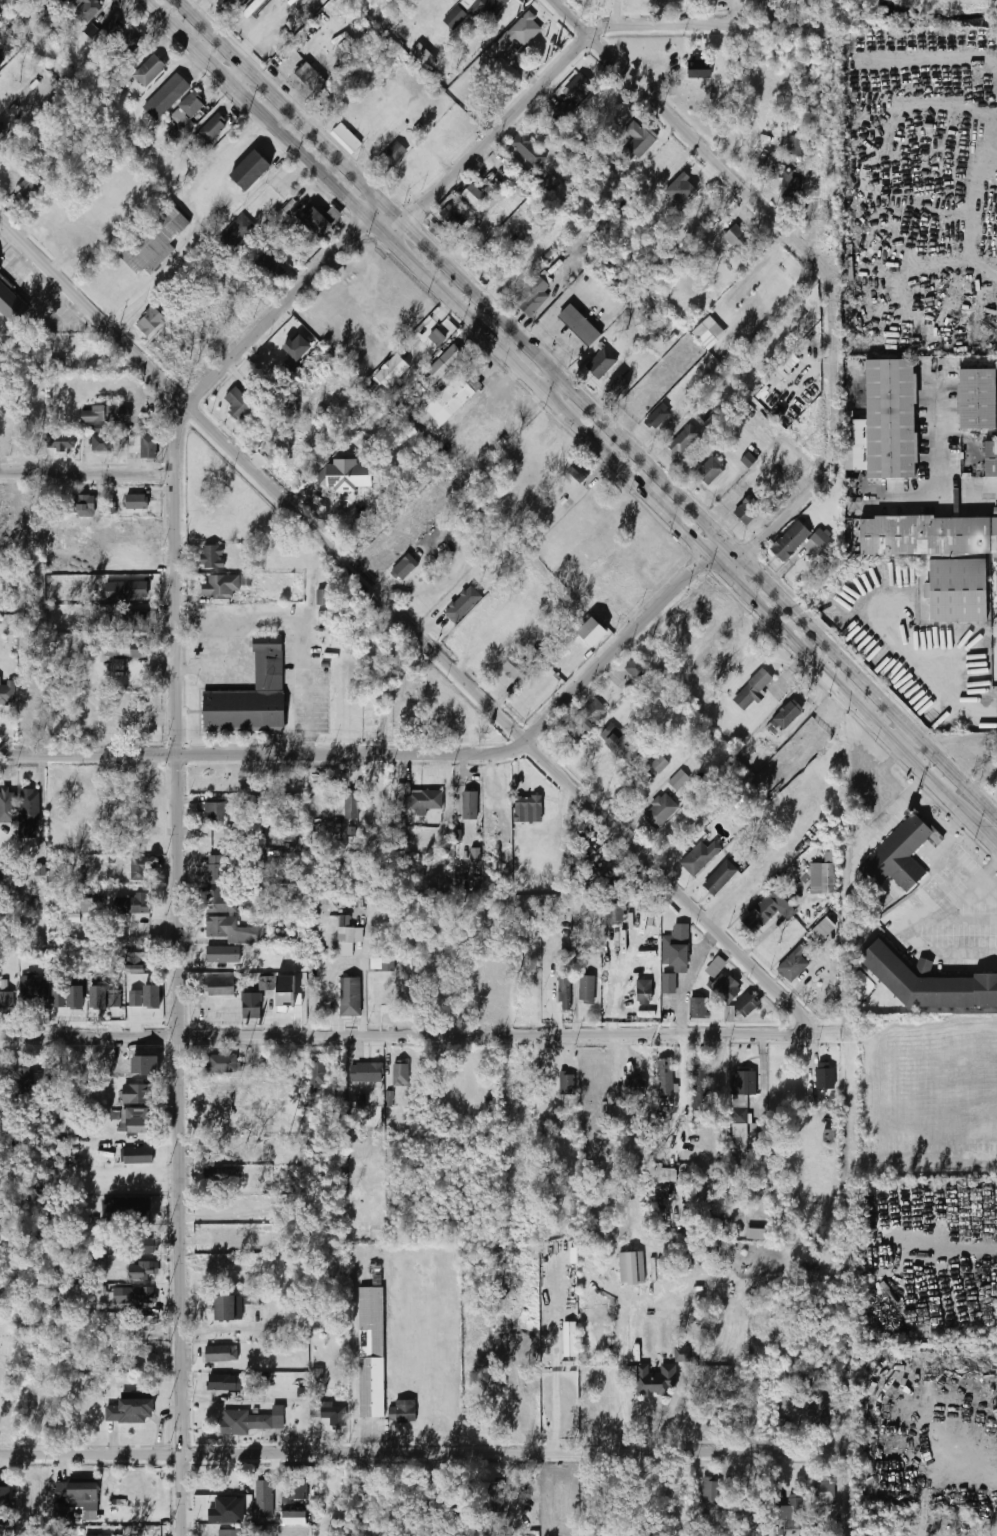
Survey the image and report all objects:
building: (227, 5)
building: (491, 7)
building: (85, 8)
building: (253, 8)
building: (455, 17)
road: (708, 25)
building: (91, 30)
building: (106, 34)
building: (517, 36)
building: (132, 41)
building: (423, 56)
building: (2, 60)
building: (699, 69)
building: (148, 70)
road: (237, 75)
building: (312, 77)
building: (580, 87)
building: (166, 96)
building: (594, 105)
building: (565, 110)
building: (190, 113)
building: (212, 128)
building: (3, 132)
building: (347, 138)
road: (489, 139)
building: (639, 140)
building: (796, 145)
building: (529, 149)
building: (390, 156)
building: (662, 166)
building: (252, 170)
road: (298, 171)
building: (516, 182)
building: (791, 183)
building: (550, 184)
road: (745, 187)
building: (682, 190)
building: (27, 194)
building: (473, 195)
road: (958, 207)
building: (451, 215)
building: (320, 222)
road: (199, 227)
building: (236, 233)
building: (737, 236)
building: (154, 240)
building: (0, 267)
building: (268, 267)
building: (532, 295)
building: (12, 302)
road: (435, 319)
building: (150, 321)
building: (573, 331)
building: (709, 333)
building: (437, 337)
building: (65, 347)
building: (298, 347)
building: (601, 362)
building: (445, 365)
building: (392, 370)
road: (555, 387)
building: (618, 388)
building: (454, 396)
building: (978, 399)
building: (239, 403)
road: (589, 403)
road: (556, 406)
building: (106, 414)
building: (657, 416)
building: (889, 419)
building: (685, 439)
building: (60, 441)
building: (101, 443)
building: (149, 447)
building: (749, 459)
building: (991, 460)
road: (937, 467)
building: (711, 470)
building: (578, 472)
road: (88, 474)
building: (347, 475)
road: (808, 499)
building: (137, 502)
building: (83, 504)
building: (750, 507)
building: (929, 536)
building: (821, 538)
building: (791, 541)
building: (212, 557)
building: (405, 567)
building: (247, 580)
building: (221, 586)
building: (127, 590)
building: (958, 591)
building: (323, 597)
building: (463, 604)
road: (284, 620)
building: (130, 621)
road: (411, 624)
road: (627, 637)
building: (126, 649)
building: (515, 668)
building: (636, 669)
building: (754, 690)
building: (7, 692)
building: (252, 694)
building: (592, 713)
building: (787, 715)
road: (906, 736)
building: (620, 744)
road: (265, 754)
building: (660, 764)
building: (679, 780)
road: (917, 785)
building: (6, 797)
building: (418, 798)
road: (44, 799)
building: (351, 804)
building: (470, 805)
building: (528, 809)
building: (660, 812)
building: (28, 813)
building: (216, 813)
road: (931, 817)
road: (956, 823)
road: (179, 828)
road: (981, 831)
building: (476, 857)
building: (700, 857)
building: (896, 857)
building: (275, 858)
building: (138, 869)
building: (215, 869)
road: (986, 874)
building: (720, 878)
building: (822, 878)
building: (93, 899)
building: (219, 901)
building: (131, 904)
building: (761, 913)
building: (615, 914)
building: (71, 918)
building: (232, 930)
building: (822, 930)
road: (911, 934)
building: (348, 940)
building: (677, 946)
building: (138, 954)
building: (223, 955)
building: (382, 965)
building: (793, 965)
building: (716, 967)
road: (688, 977)
building: (267, 982)
building: (928, 982)
building: (669, 984)
building: (564, 986)
building: (221, 987)
building: (587, 988)
building: (725, 988)
building: (33, 989)
building: (643, 992)
building: (59, 994)
building: (75, 997)
building: (105, 997)
building: (146, 997)
building: (351, 997)
building: (381, 998)
building: (5, 999)
building: (747, 1004)
building: (252, 1005)
building: (698, 1008)
road: (398, 1033)
building: (221, 1064)
building: (318, 1073)
building: (365, 1073)
building: (401, 1075)
building: (665, 1076)
building: (825, 1078)
building: (32, 1081)
building: (567, 1082)
building: (634, 1086)
building: (743, 1086)
building: (222, 1089)
building: (250, 1089)
building: (700, 1090)
building: (135, 1093)
building: (138, 1120)
building: (829, 1136)
building: (140, 1156)
building: (219, 1174)
building: (668, 1174)
building: (135, 1207)
building: (720, 1222)
building: (756, 1234)
building: (148, 1244)
road: (975, 1254)
building: (632, 1267)
building: (375, 1269)
building: (143, 1271)
building: (143, 1295)
building: (227, 1308)
building: (372, 1352)
building: (221, 1353)
building: (682, 1354)
building: (655, 1379)
building: (225, 1382)
building: (132, 1411)
building: (402, 1412)
building: (512, 1412)
building: (330, 1413)
building: (821, 1416)
building: (251, 1422)
road: (416, 1450)
building: (262, 1484)
building: (295, 1492)
building: (825, 1492)
building: (75, 1493)
building: (713, 1494)
building: (495, 1498)
building: (5, 1506)
building: (227, 1510)
road: (145, 1512)
building: (790, 1516)
building: (295, 1518)
building: (231, 1532)
building: (85, 1535)

